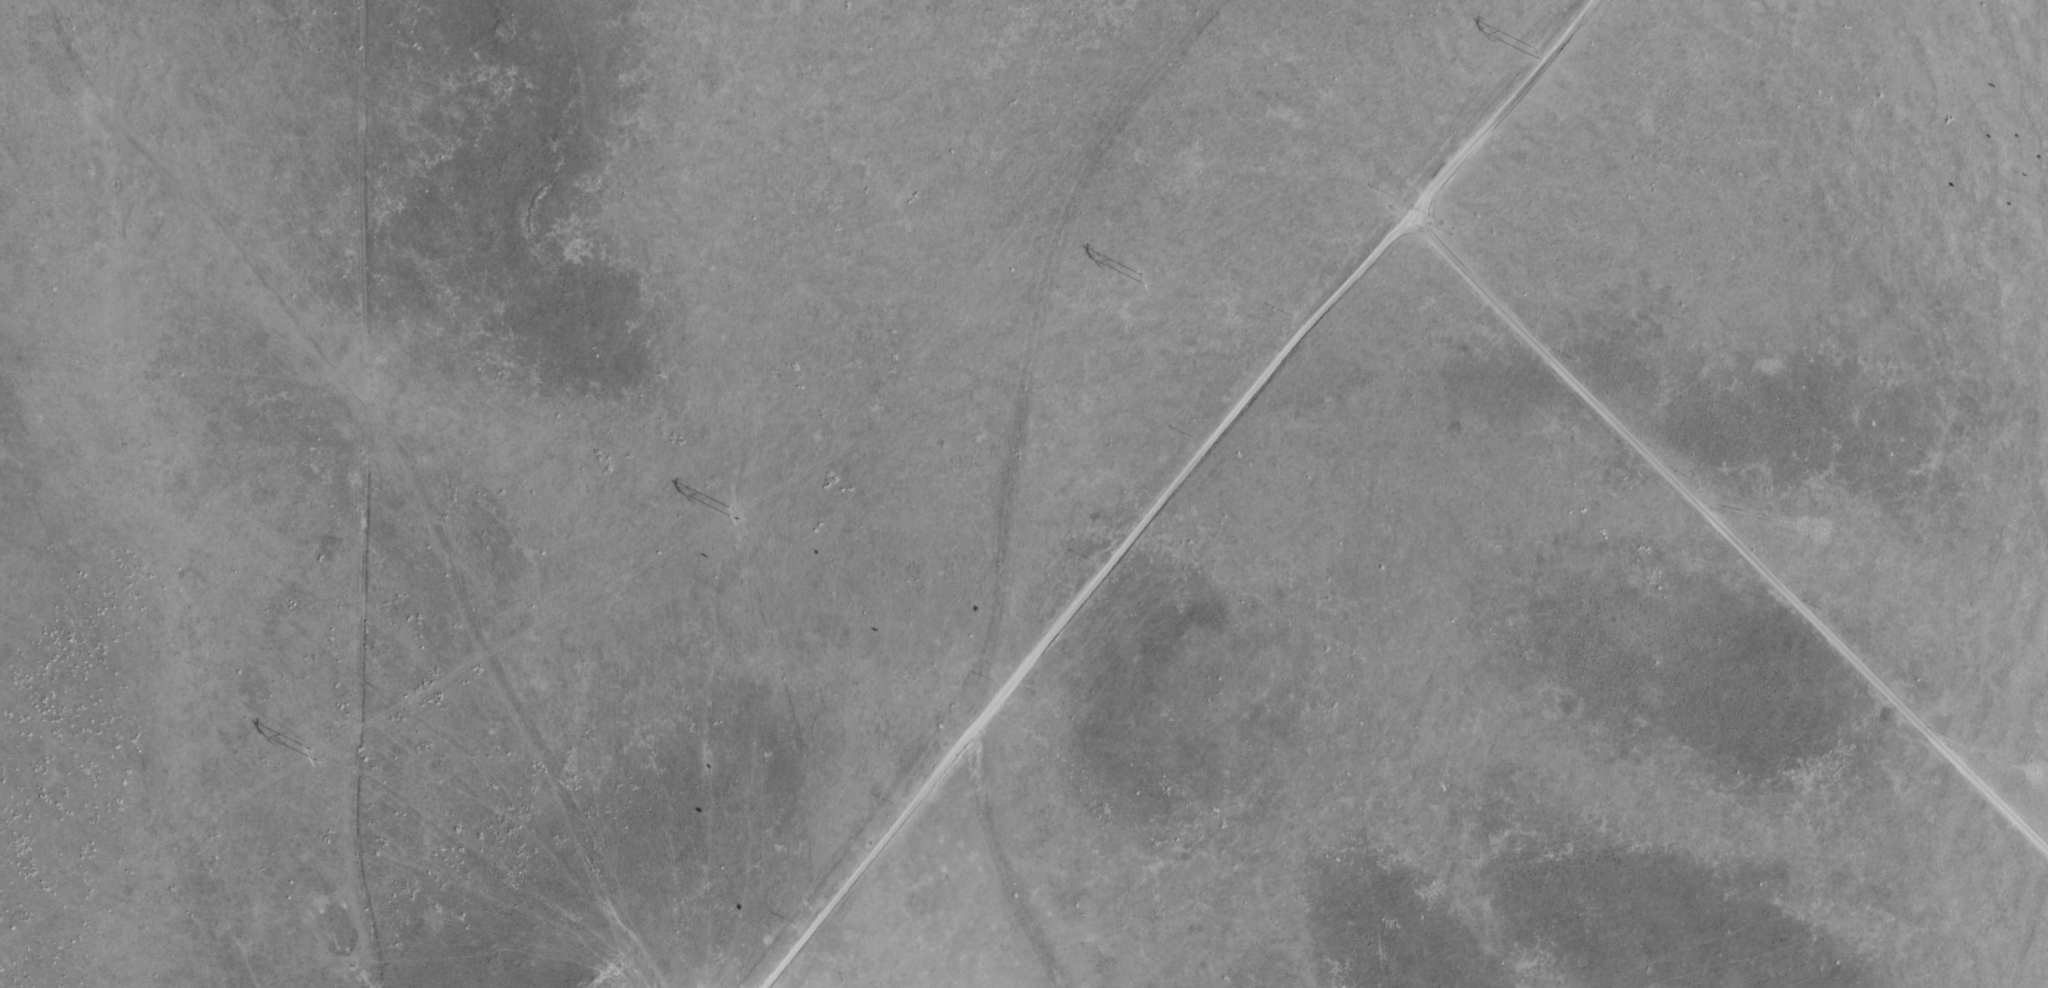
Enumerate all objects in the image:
power tower: (1533, 50)
road: (1397, 198)
road: (331, 204)
power tower: (1140, 277)
power tower: (733, 512)
road: (996, 692)
road: (220, 705)
power tower: (314, 752)
road: (990, 864)

